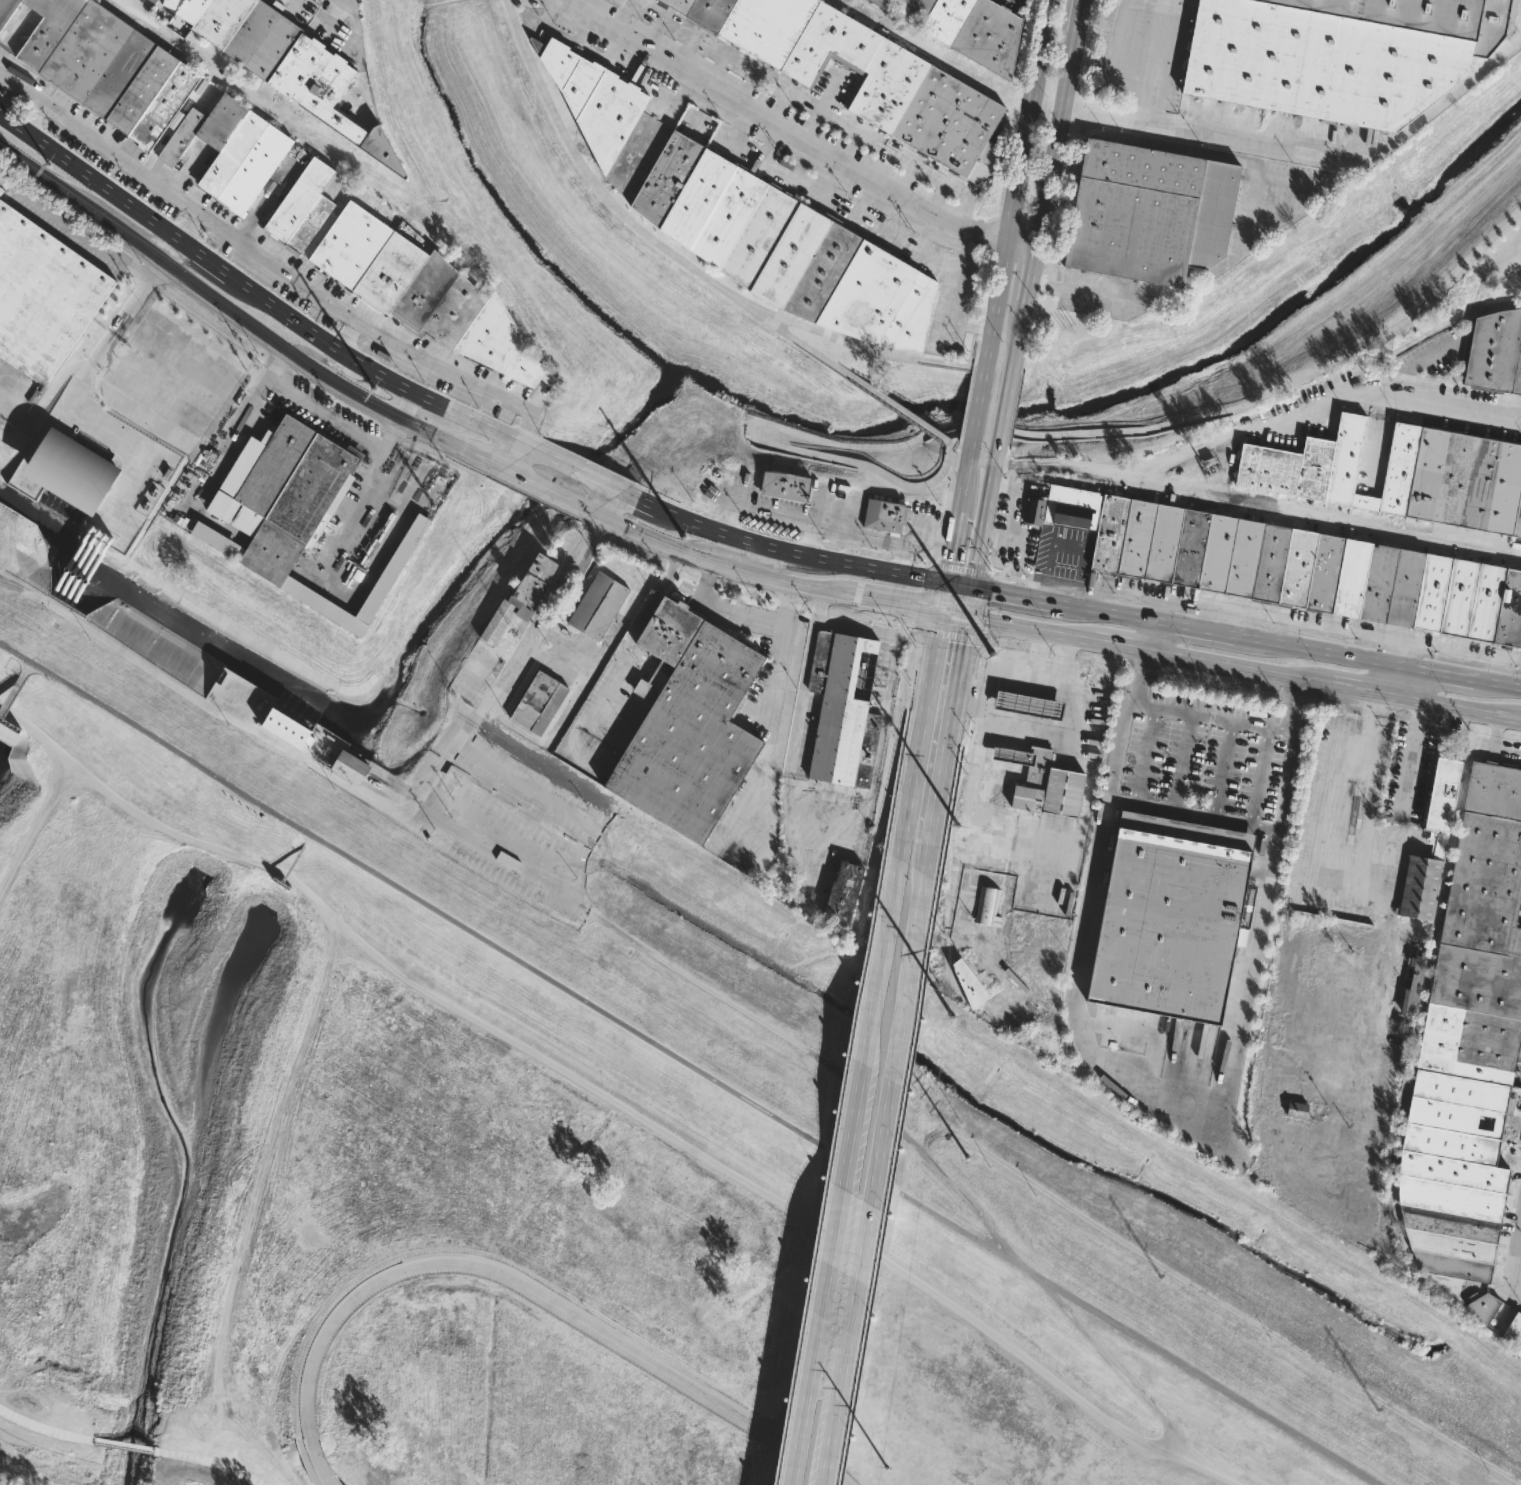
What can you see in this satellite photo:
building: (152, 1)
building: (877, 3)
building: (1511, 9)
building: (7, 11)
building: (237, 29)
building: (970, 30)
road: (1160, 47)
building: (1338, 54)
road: (1112, 64)
building: (110, 67)
building: (866, 75)
road: (1460, 86)
road: (22, 88)
building: (326, 94)
building: (598, 97)
road: (781, 106)
road: (821, 109)
road: (1148, 111)
road: (791, 137)
road: (1233, 144)
road: (107, 148)
building: (234, 149)
power tower: (46, 164)
road: (1018, 183)
road: (1047, 186)
road: (599, 191)
building: (305, 205)
building: (1142, 210)
building: (787, 247)
road: (170, 248)
road: (264, 258)
building: (44, 293)
road: (262, 293)
building: (424, 293)
road: (135, 298)
road: (254, 326)
road: (800, 340)
road: (976, 346)
building: (1494, 352)
road: (885, 353)
road: (332, 364)
road: (445, 371)
power tower: (373, 388)
road: (889, 401)
road: (40, 402)
road: (966, 402)
road: (977, 402)
road: (8, 406)
road: (1457, 406)
road: (1004, 407)
road: (327, 415)
road: (1041, 435)
road: (1195, 446)
road: (955, 456)
road: (510, 458)
road: (981, 459)
building: (1303, 464)
building: (67, 465)
road: (580, 473)
road: (964, 473)
building: (1451, 479)
building: (785, 486)
road: (946, 495)
road: (639, 498)
road: (564, 499)
building: (1068, 507)
building: (1030, 511)
building: (298, 512)
road: (1329, 512)
building: (883, 515)
parking lot: (882, 520)
road: (709, 526)
road: (980, 531)
power tower: (682, 535)
road: (926, 536)
road: (878, 537)
road: (658, 542)
road: (937, 542)
road: (950, 545)
road: (785, 550)
road: (934, 555)
road: (758, 560)
traffic signals: (947, 561)
road: (959, 567)
road: (733, 569)
road: (874, 569)
power tower: (3, 570)
building: (1308, 571)
road: (956, 584)
road: (806, 590)
traffic signals: (990, 591)
road: (925, 596)
road: (1016, 596)
building: (523, 598)
road: (941, 599)
road: (790, 604)
building: (601, 605)
road: (981, 606)
road: (547, 607)
road: (899, 608)
traffic signals: (915, 611)
road: (1111, 614)
road: (951, 617)
road: (784, 621)
road: (937, 624)
road: (962, 628)
road: (1024, 630)
road: (1196, 631)
road: (950, 635)
road: (1155, 639)
traffic signals: (960, 643)
road: (1119, 648)
road: (1317, 654)
power tower: (991, 655)
road: (1148, 661)
road: (1238, 670)
road: (914, 671)
road: (1025, 675)
road: (1437, 675)
building: (651, 684)
road: (1399, 684)
road: (1497, 686)
road: (1291, 688)
road: (968, 691)
road: (1360, 692)
building: (541, 702)
building: (1024, 704)
gas station: (1024, 704)
building: (841, 709)
road: (1458, 710)
power tower: (237, 711)
road: (565, 711)
road: (922, 713)
road: (1210, 713)
road: (947, 716)
building: (689, 725)
building: (288, 729)
road: (1146, 752)
road: (979, 756)
road: (1409, 756)
road: (1181, 759)
building: (349, 767)
road: (1225, 768)
road: (1260, 775)
building: (1040, 782)
road: (406, 811)
road: (1190, 812)
power tower: (957, 828)
road: (928, 829)
power tower: (444, 839)
building: (1435, 839)
building: (838, 893)
railway: (762, 904)
building: (987, 907)
building: (1165, 916)
power tower: (632, 953)
road: (880, 963)
building: (959, 985)
building: (1410, 993)
road: (900, 998)
power tower: (950, 1017)
building: (1466, 1050)
road: (686, 1062)
power tower: (840, 1081)
road: (1157, 1089)
road: (839, 1099)
road: (611, 1100)
building: (1297, 1110)
road: (899, 1116)
power tower: (903, 1120)
park: (537, 1150)
road: (831, 1253)
road: (1516, 1253)
road: (1012, 1257)
power tower: (1162, 1275)
road: (533, 1282)
road: (1518, 1283)
road: (536, 1295)
road: (849, 1310)
building: (1514, 1333)
power tower: (1379, 1408)
road: (801, 1429)
power tower: (887, 1467)
road: (317, 1468)
road: (308, 1471)

